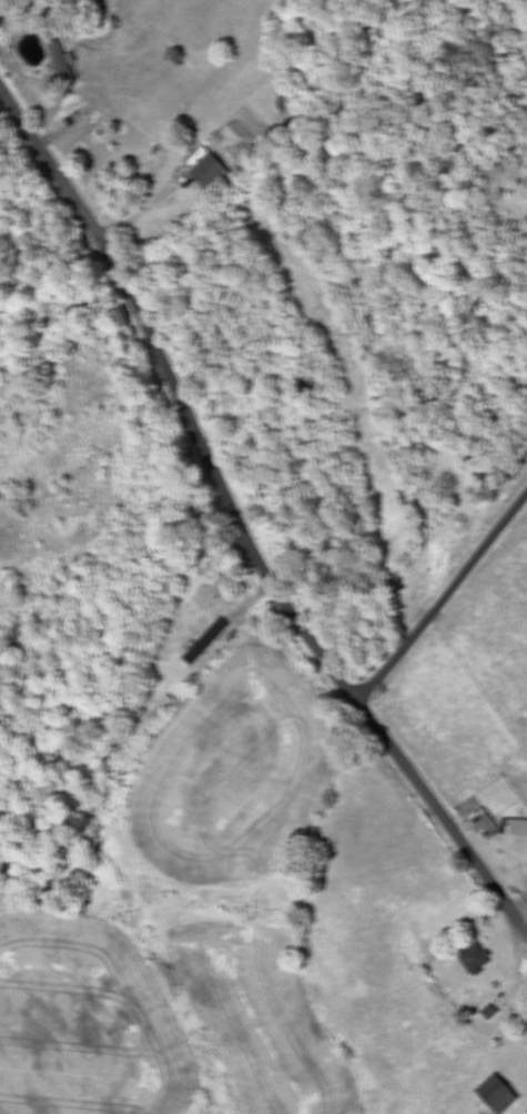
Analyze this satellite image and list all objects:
building: (68, 61)
building: (213, 173)
road: (236, 523)
road: (443, 600)
building: (210, 641)
building: (478, 960)
building: (494, 1013)
building: (503, 1094)

